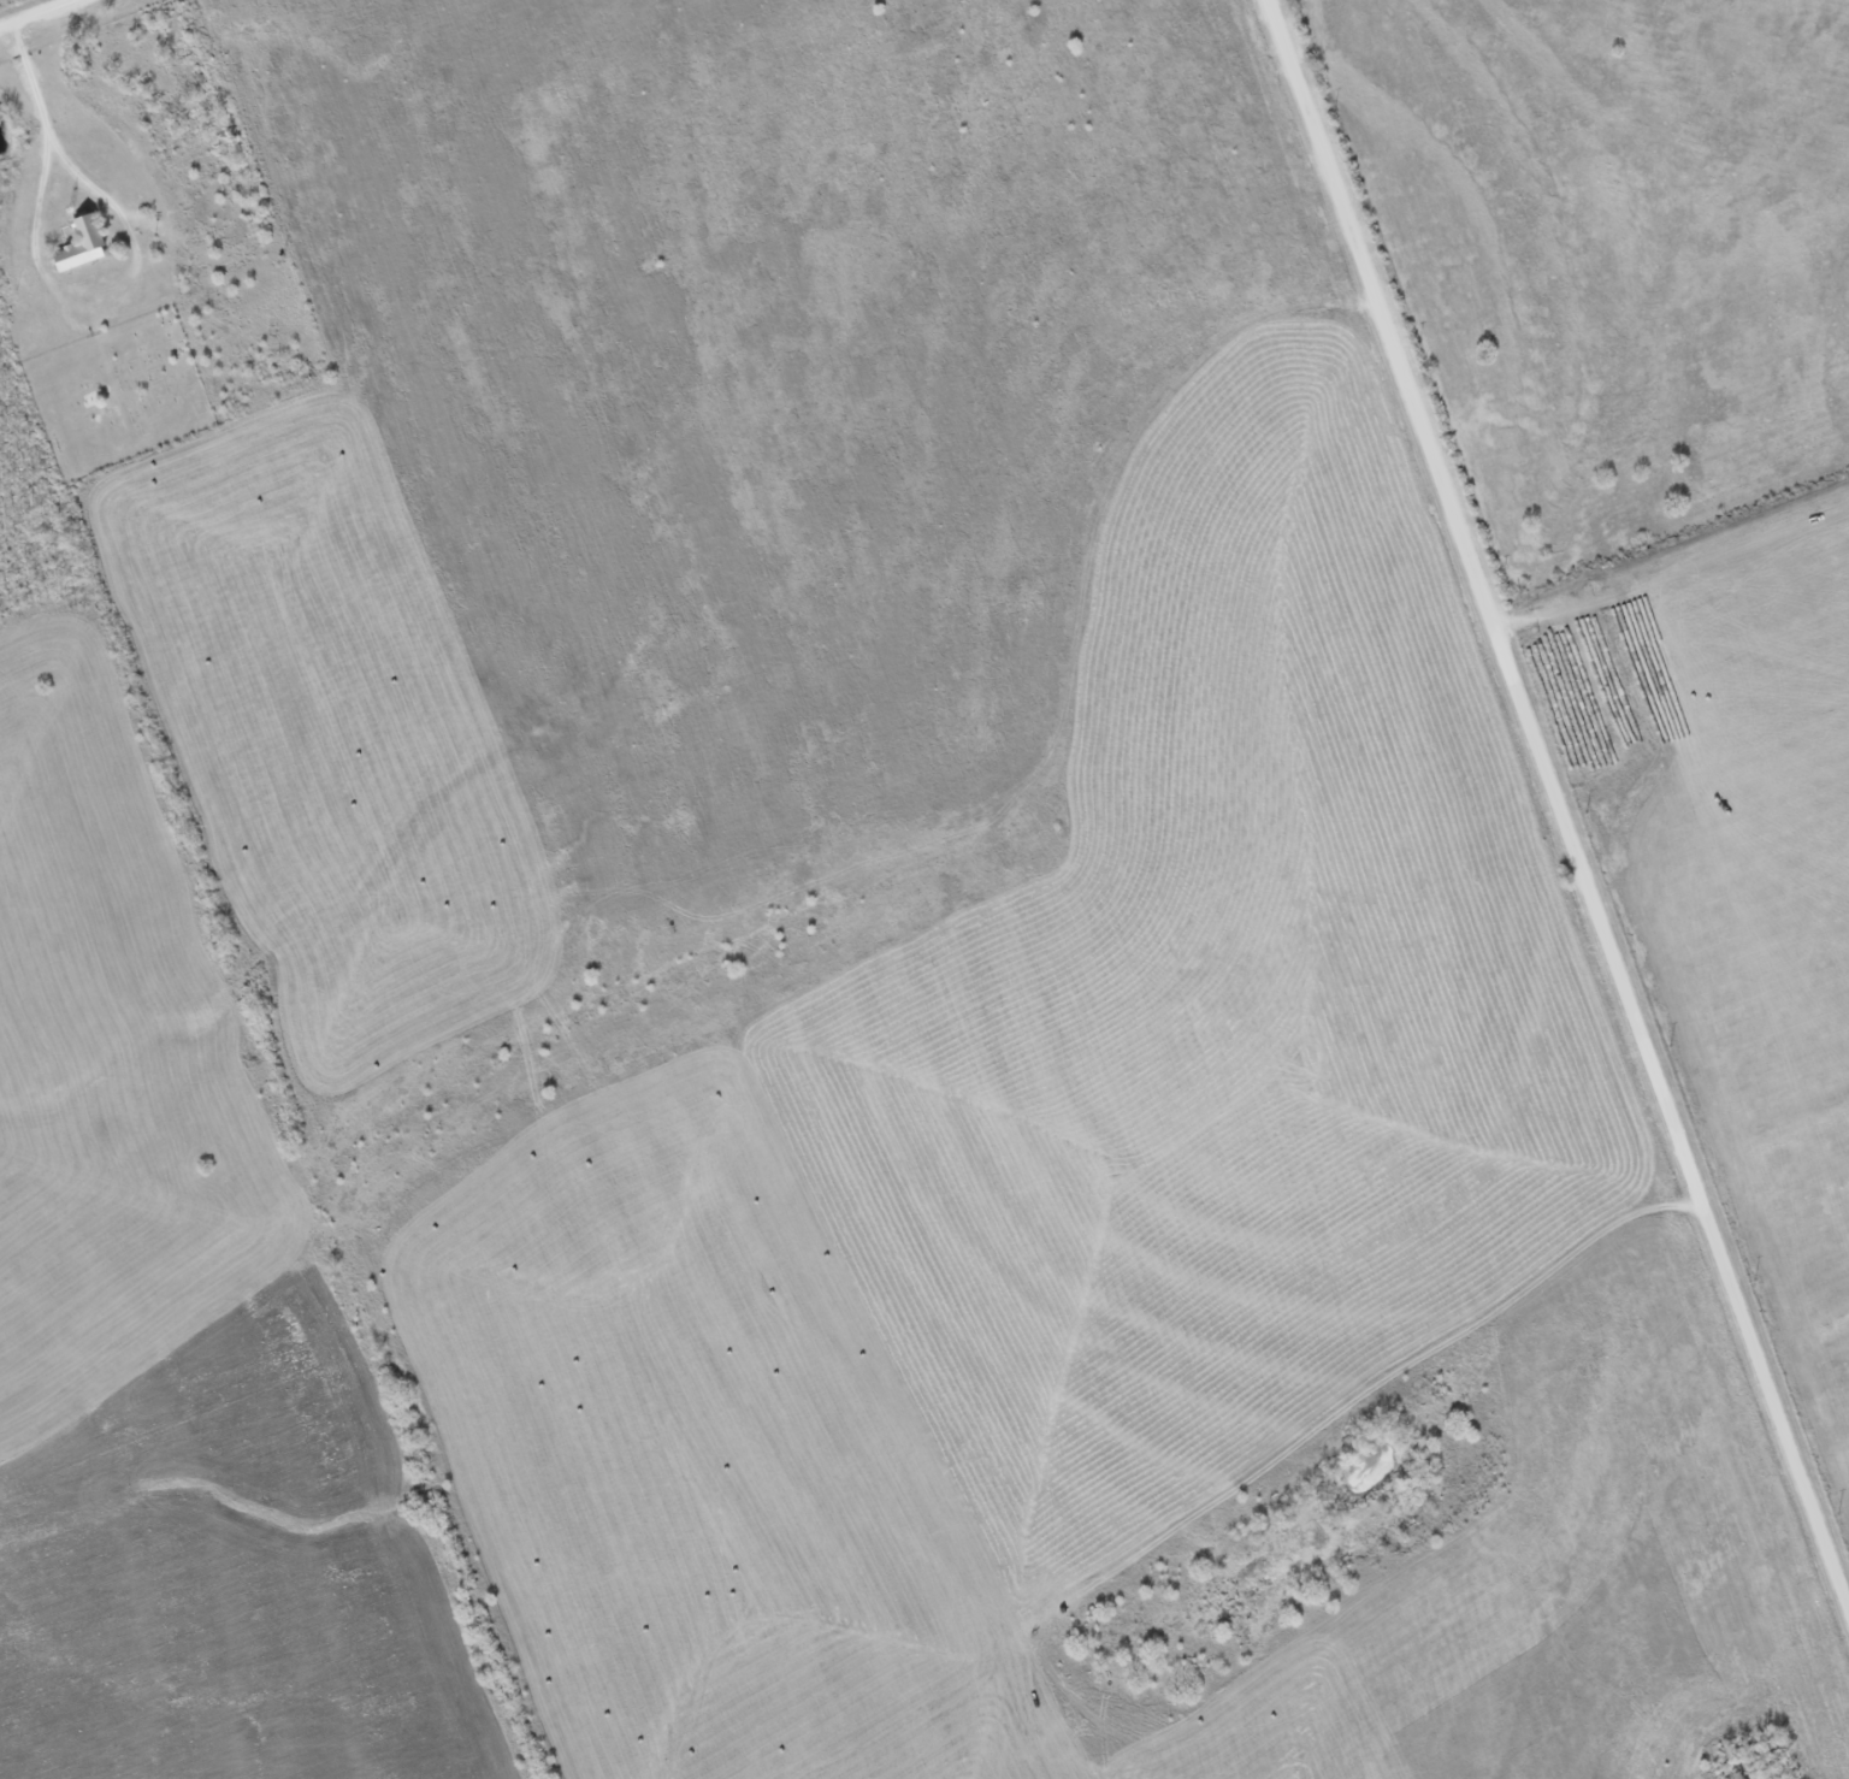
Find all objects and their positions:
road: (35, 13)
building: (78, 243)
park: (116, 392)
road: (1560, 799)

